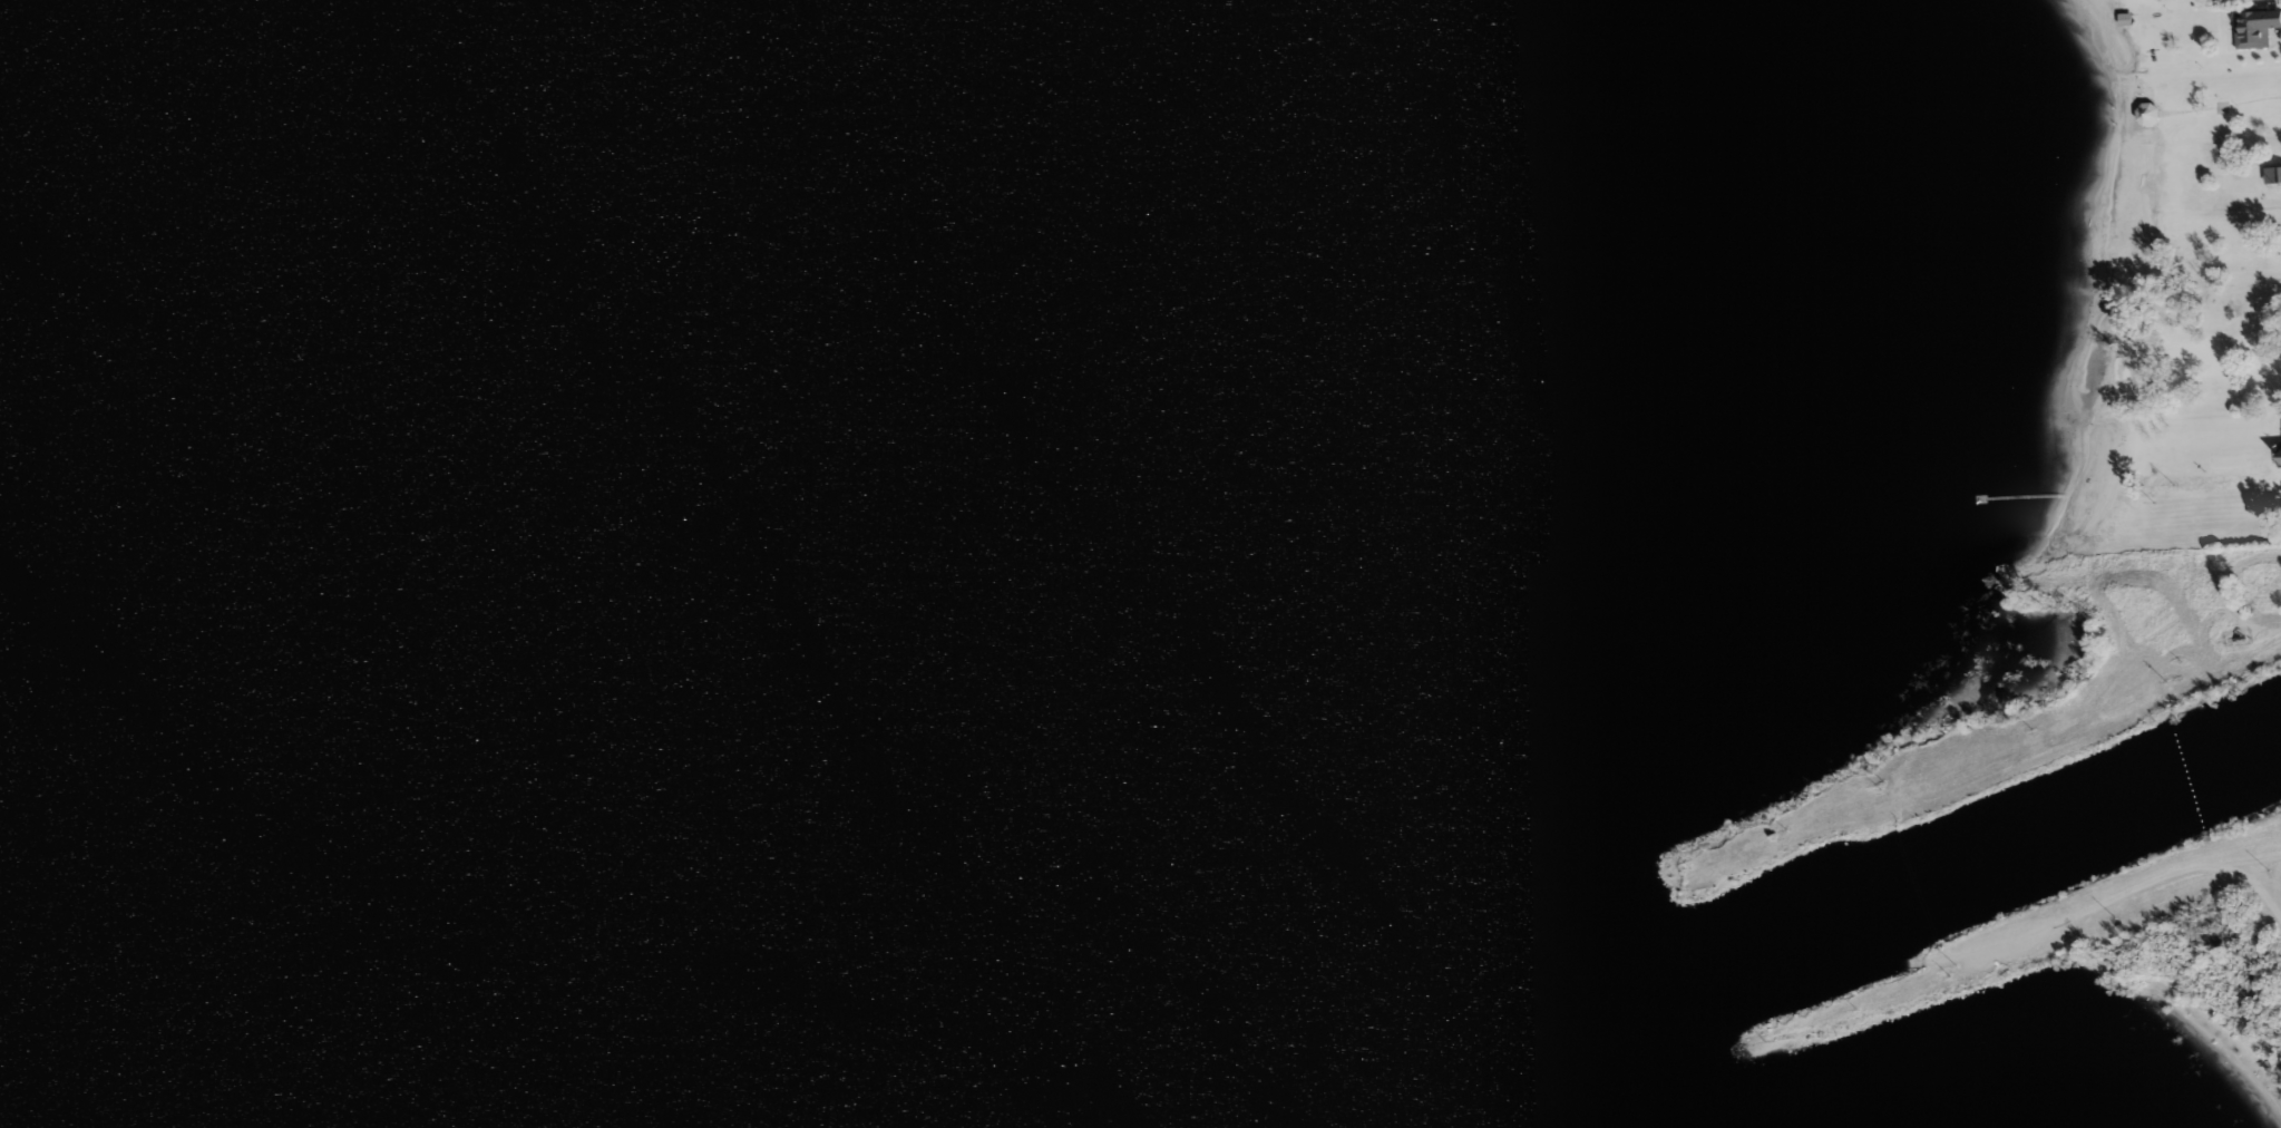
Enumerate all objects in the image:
building: (2255, 27)
building: (2148, 115)
building: (2273, 175)
road: (2224, 591)
road: (2243, 882)
road: (2128, 891)

